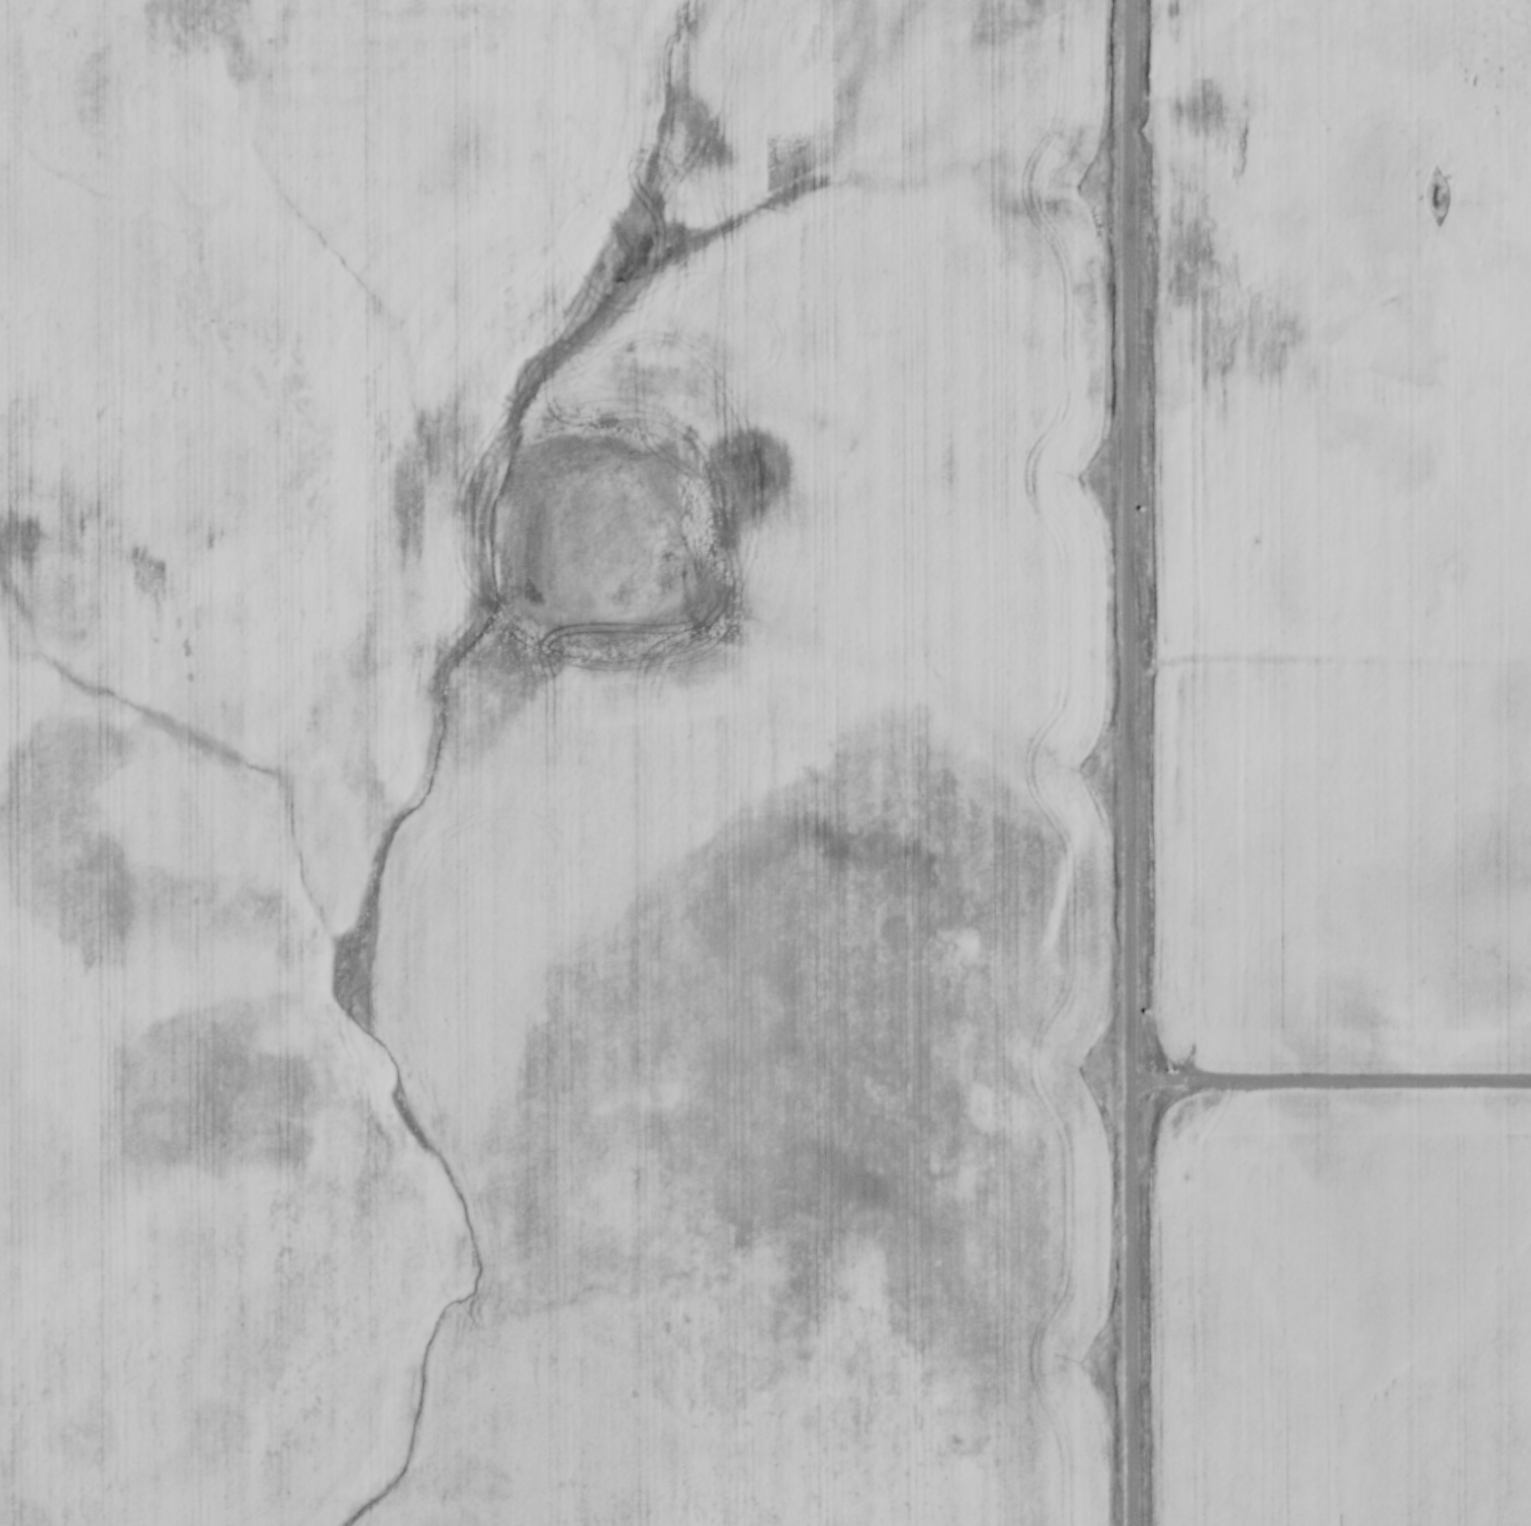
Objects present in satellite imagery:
road: (1130, 763)

